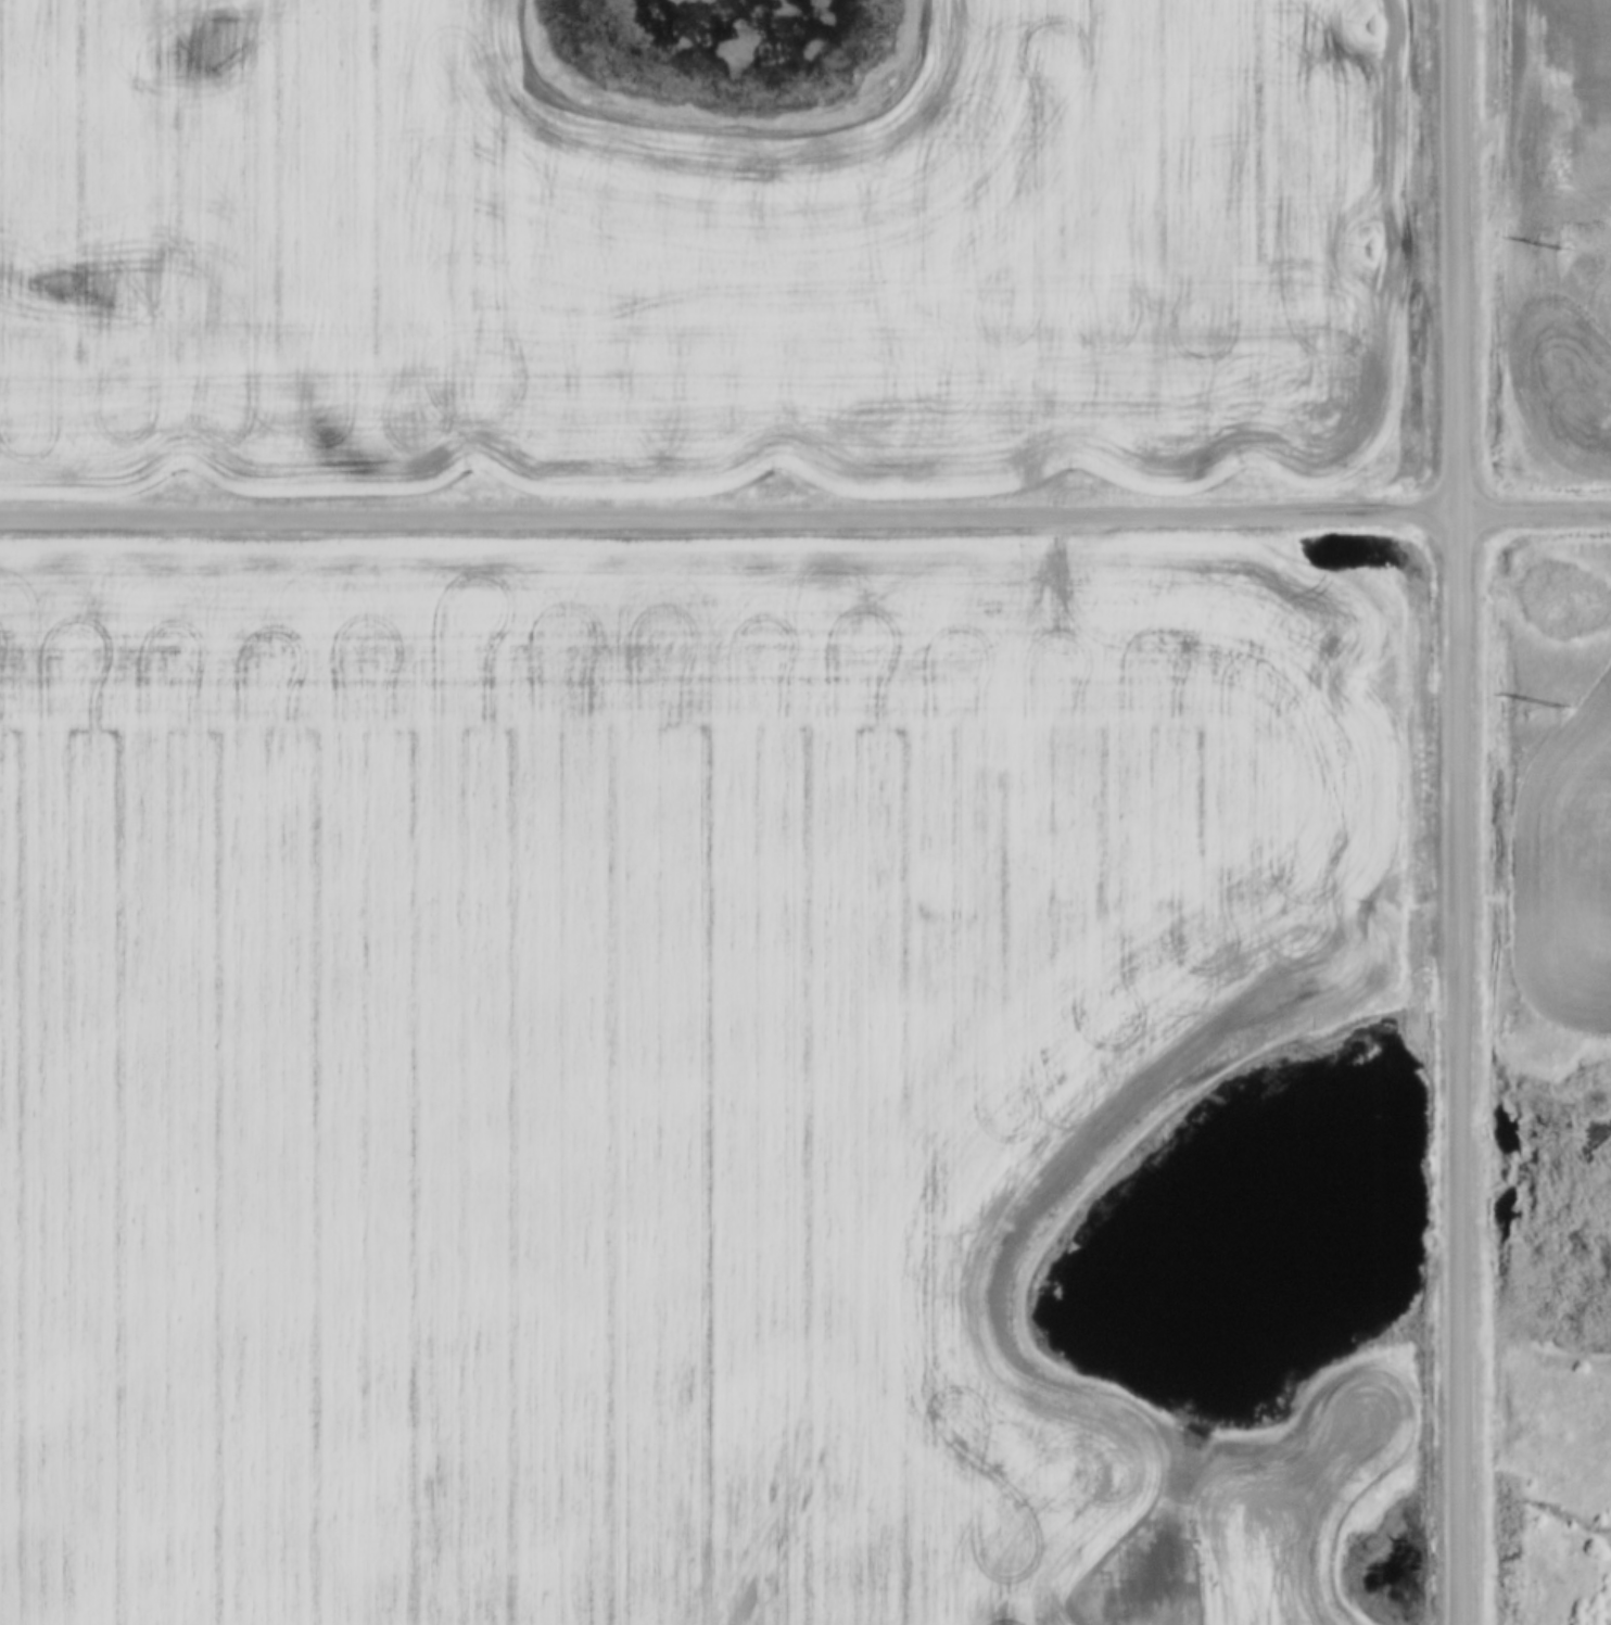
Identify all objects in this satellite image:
road: (1534, 512)
road: (728, 518)
road: (1458, 812)

